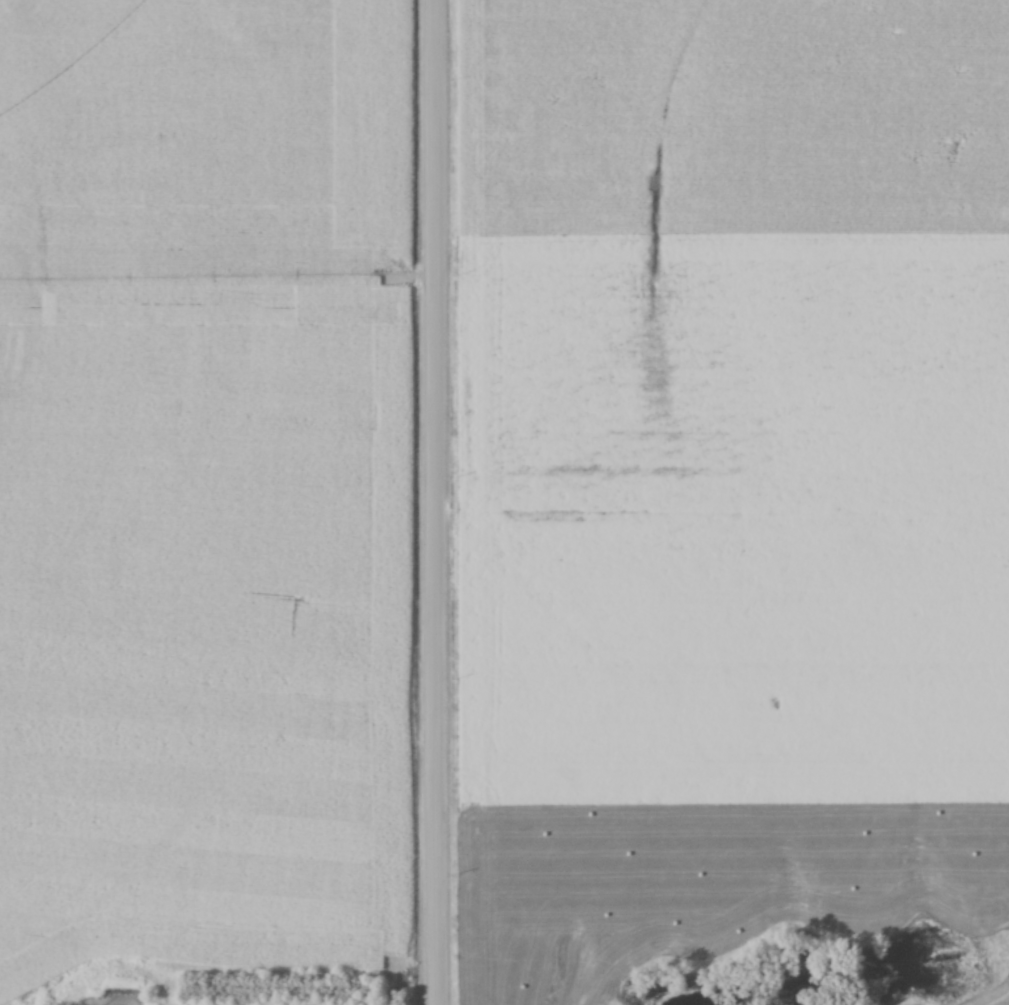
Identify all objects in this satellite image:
road: (432, 502)

